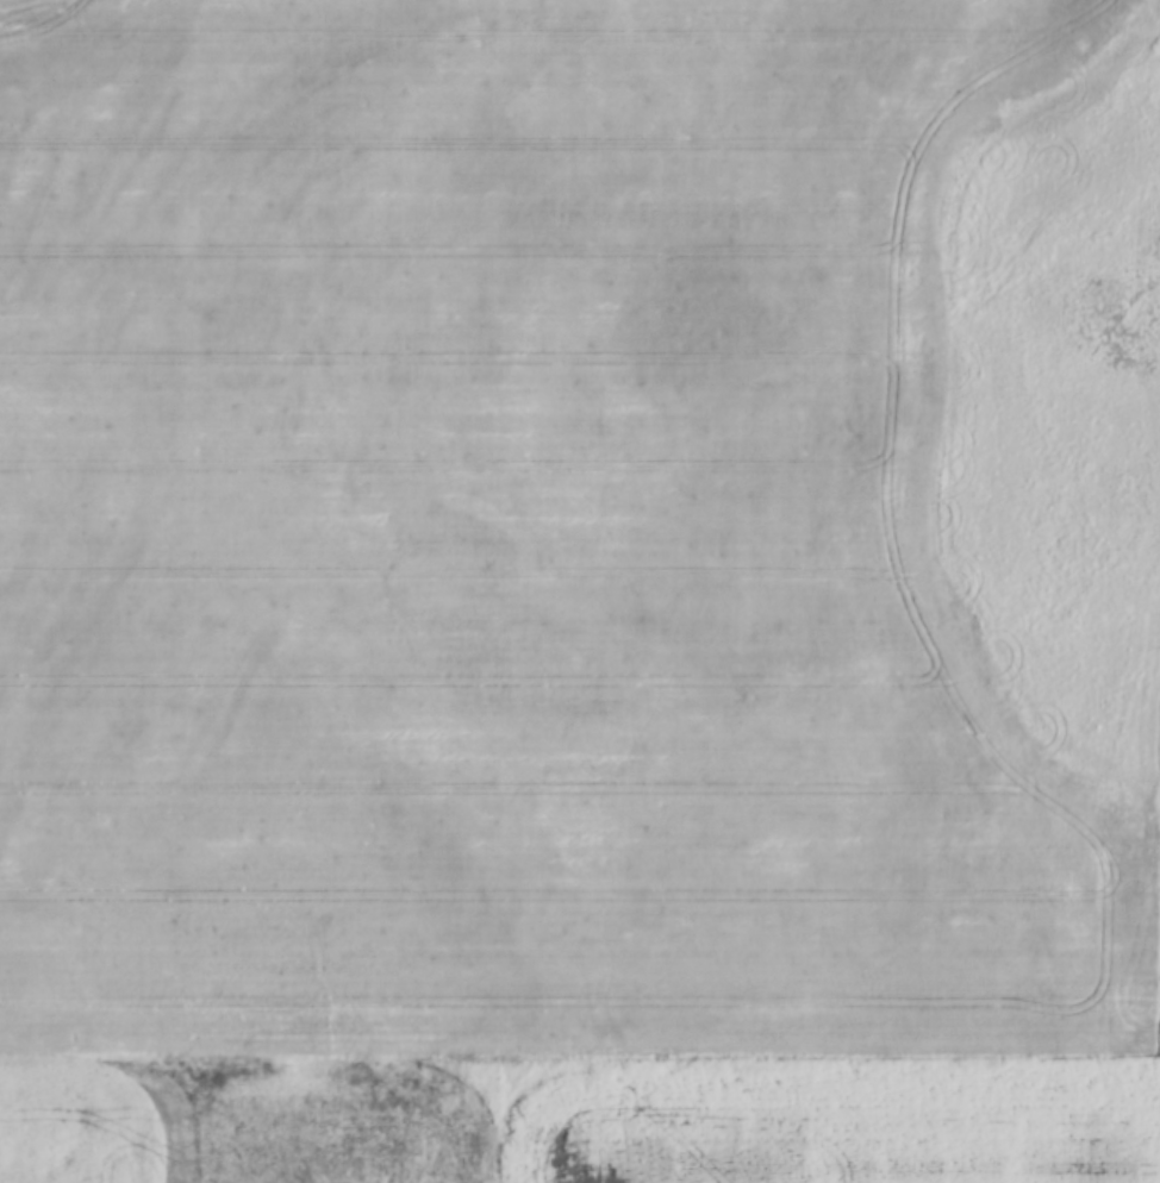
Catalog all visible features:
road: (580, 1059)
road: (513, 1116)

